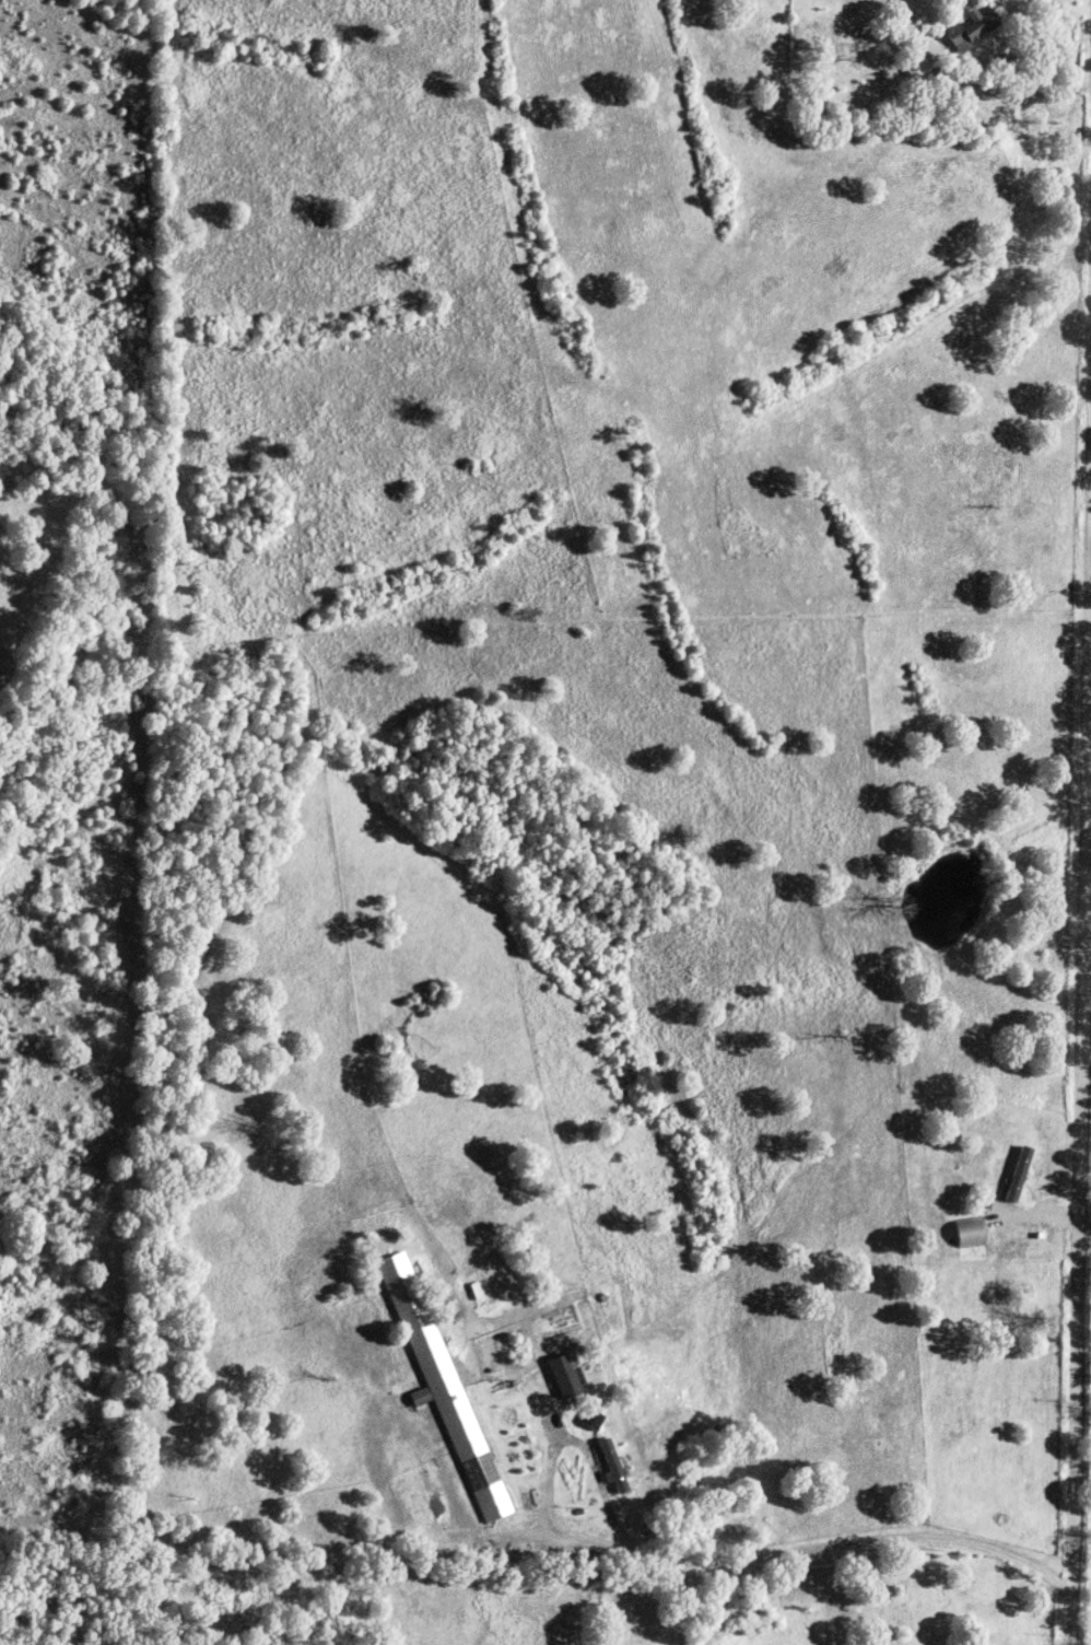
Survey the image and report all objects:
building: (972, 27)
road: (1081, 983)
building: (1020, 1174)
building: (971, 1233)
road: (742, 1308)
building: (565, 1376)
building: (439, 1377)
building: (591, 1420)
building: (612, 1467)
road: (706, 1572)

